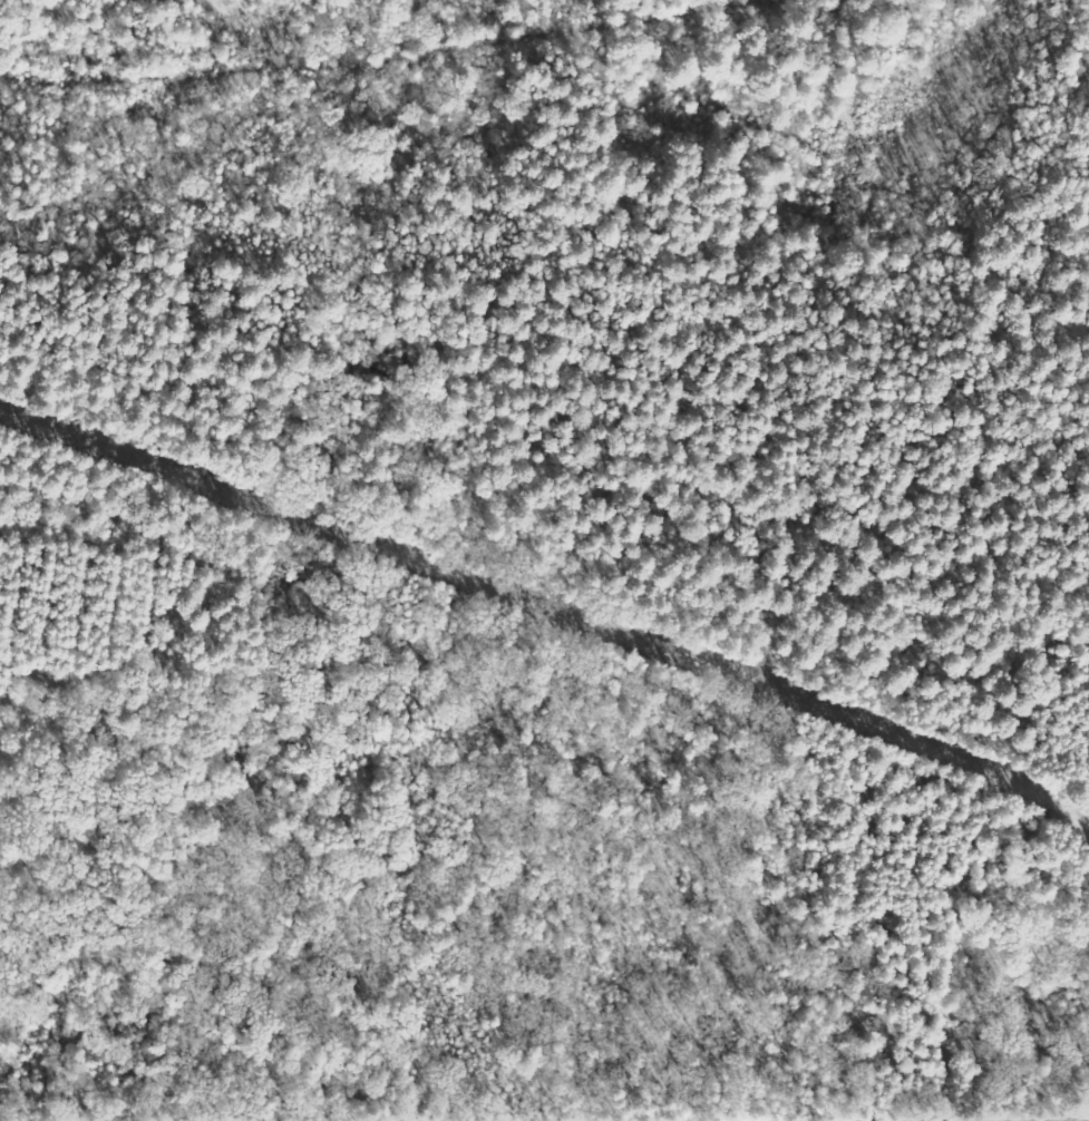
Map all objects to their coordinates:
road: (989, 942)

